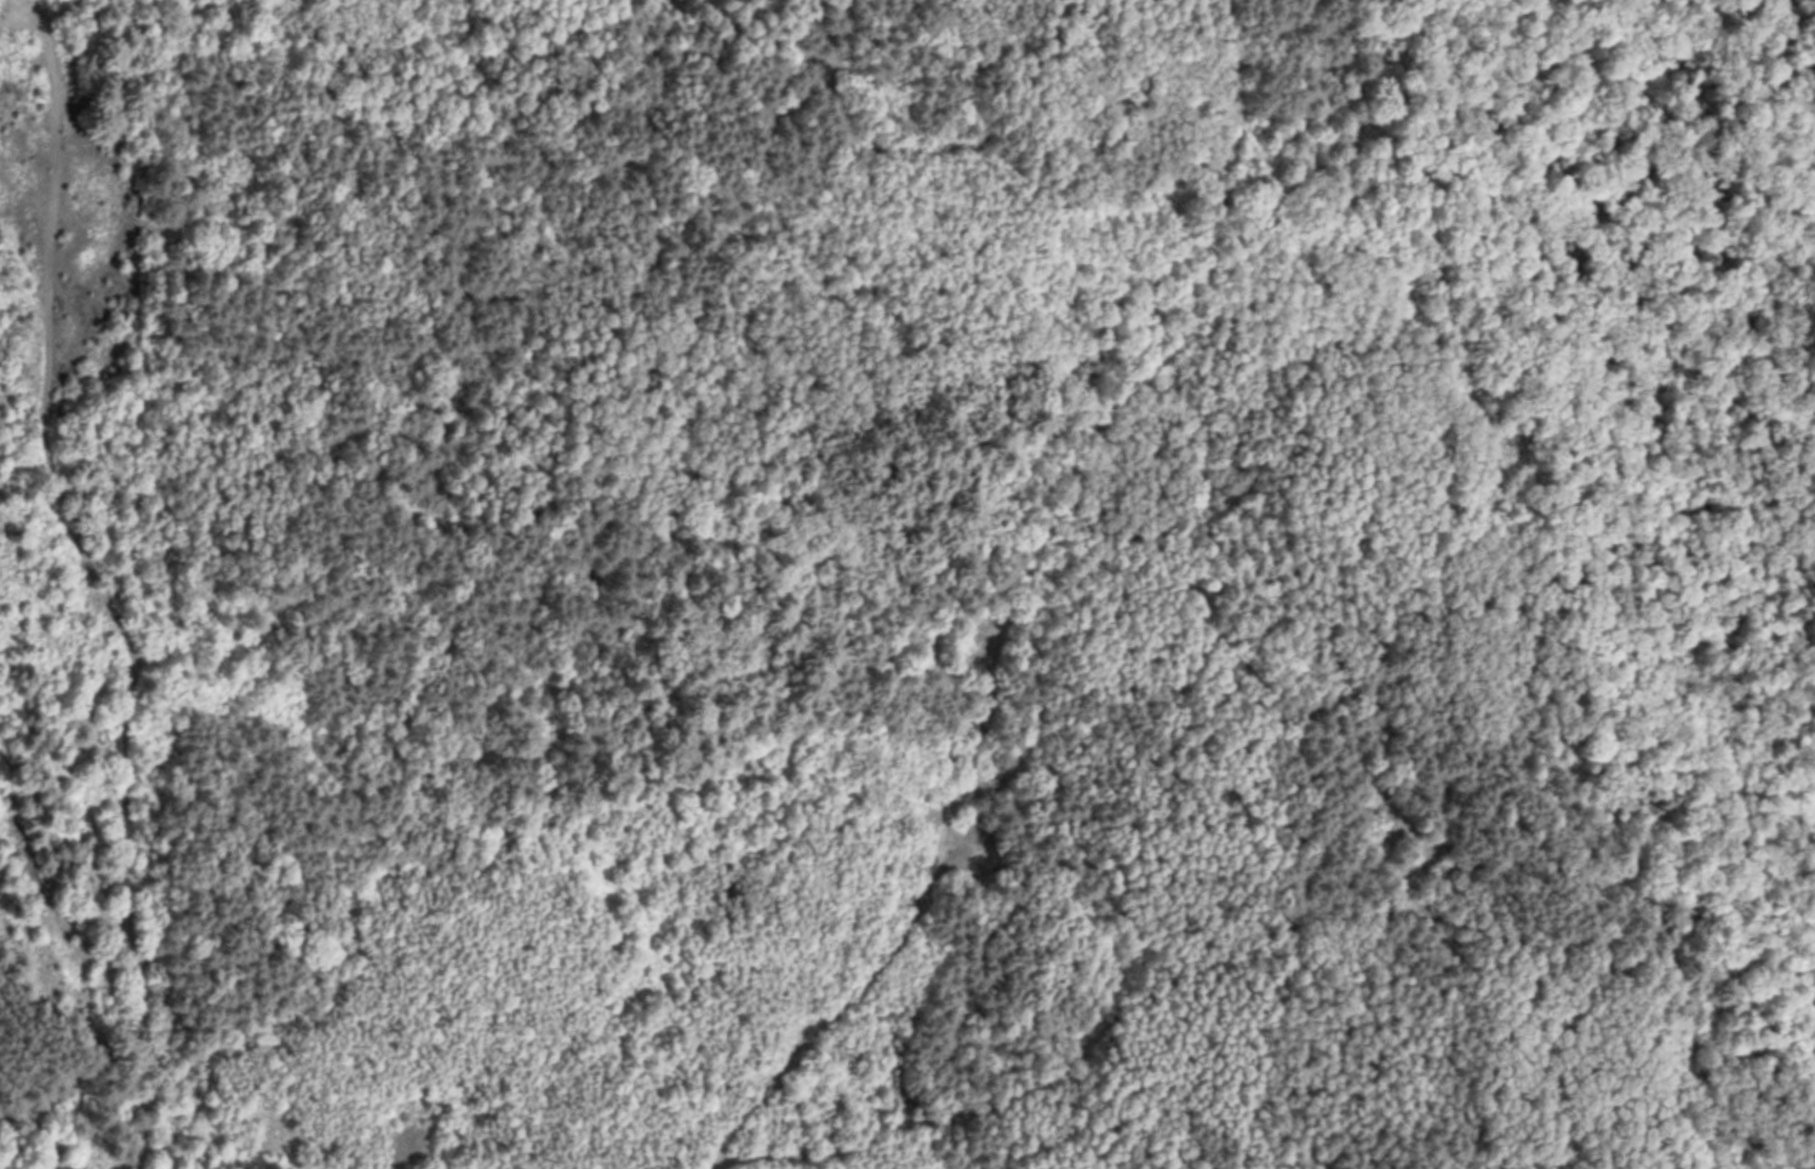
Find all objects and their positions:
road: (963, 592)

